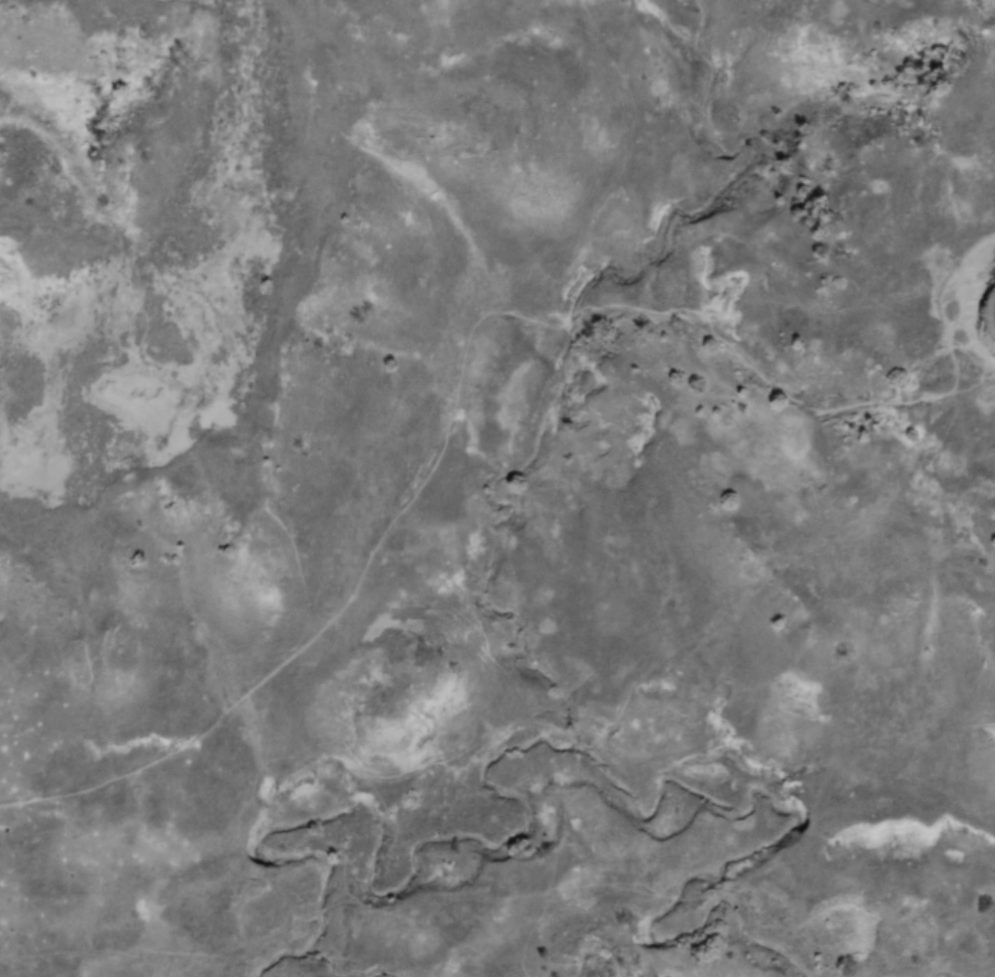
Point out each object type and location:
road: (452, 395)

